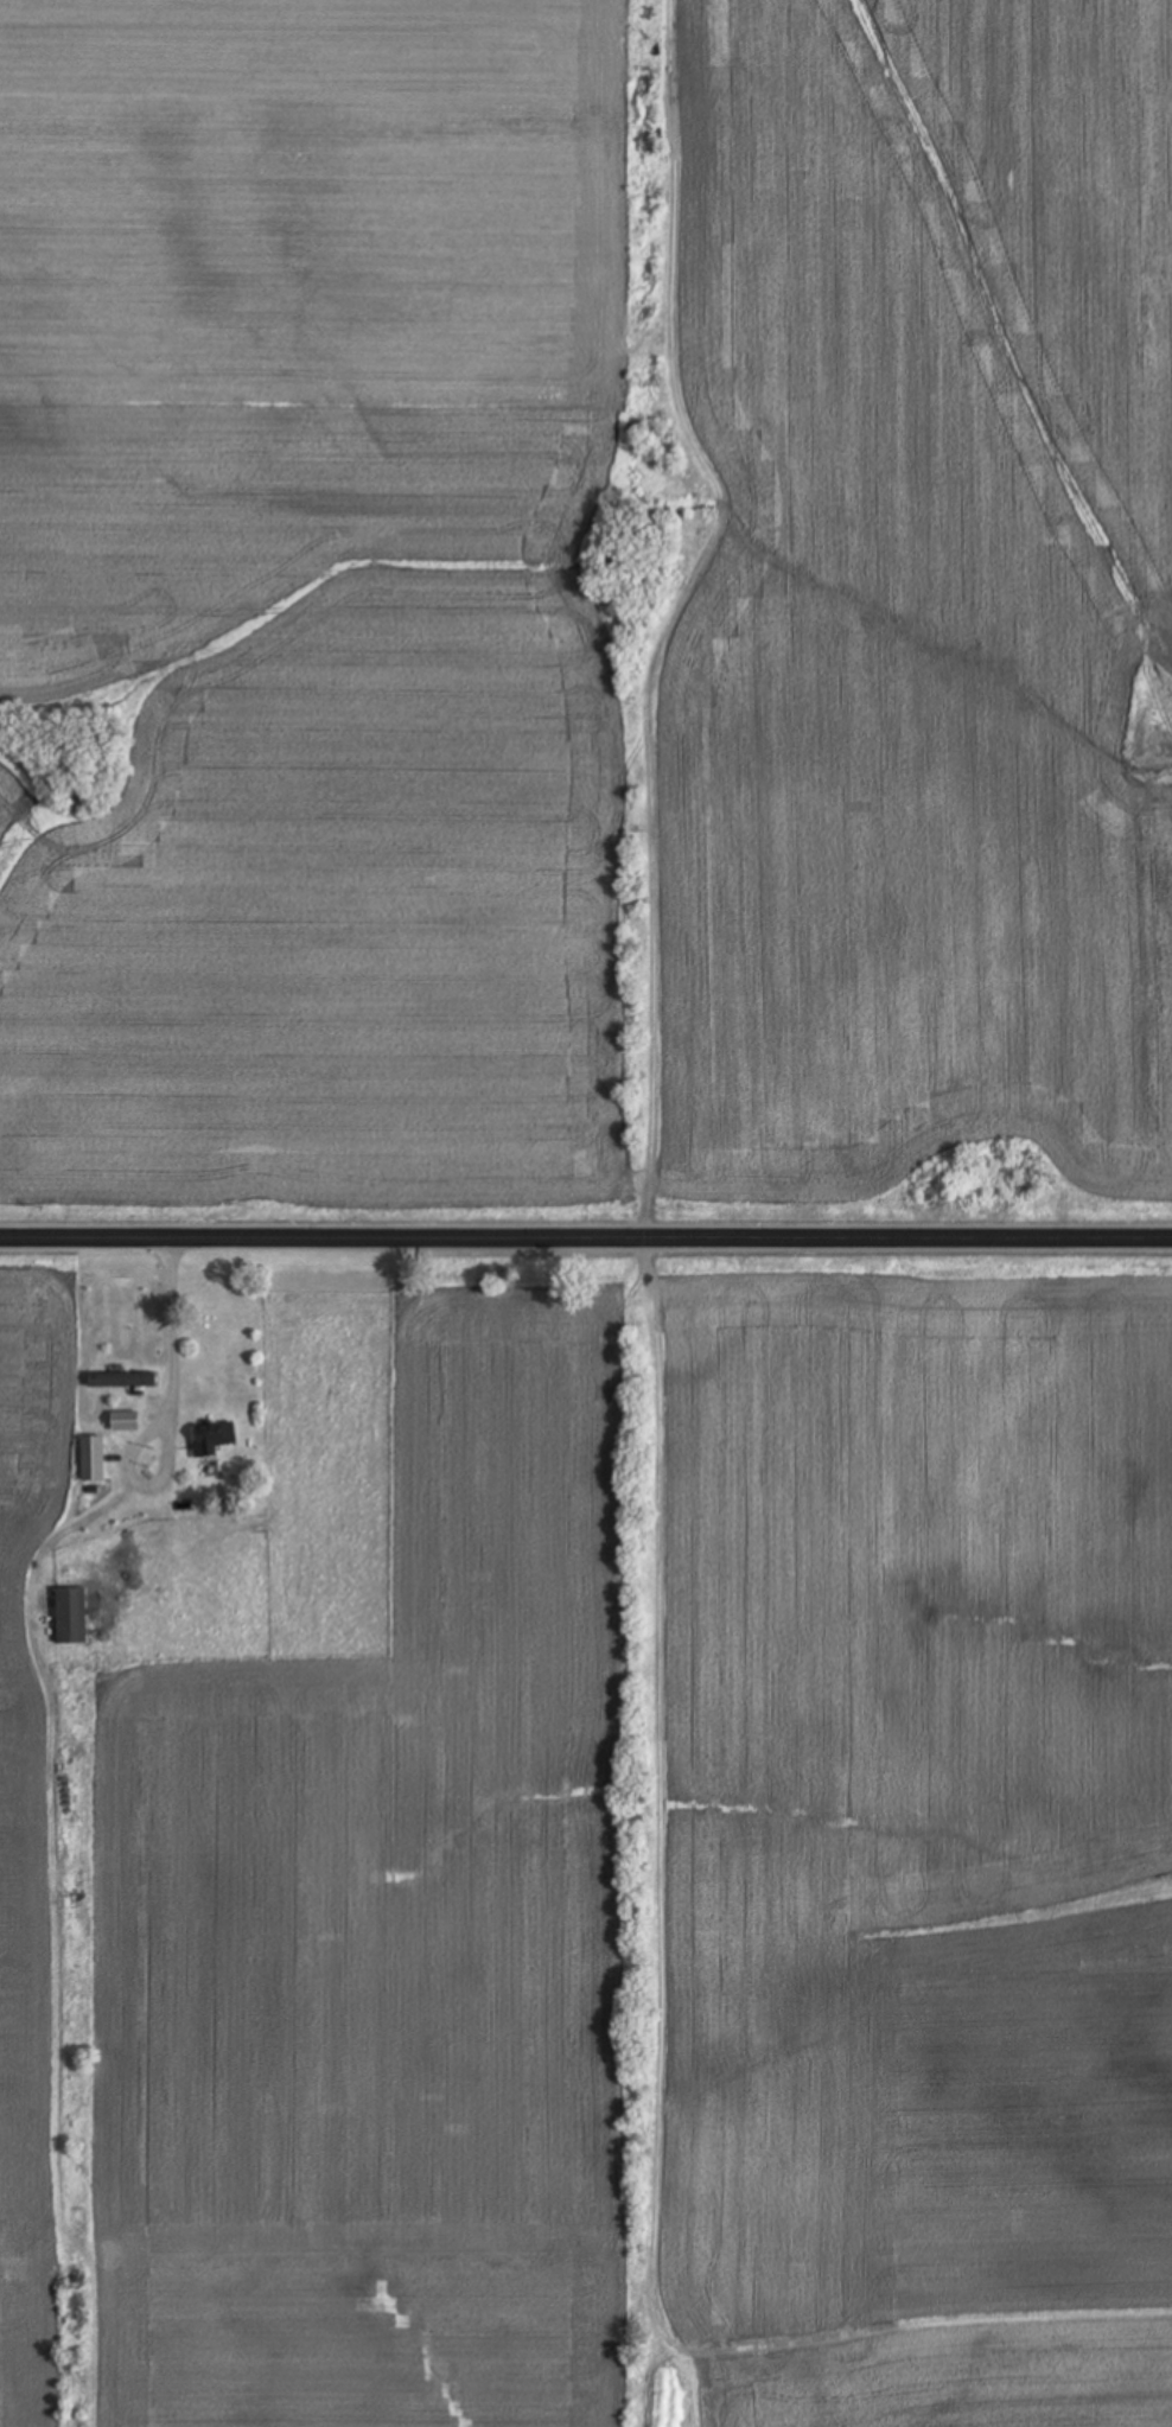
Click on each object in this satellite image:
road: (585, 1235)
building: (120, 1380)
road: (170, 1419)
building: (123, 1422)
building: (211, 1439)
building: (91, 1459)
building: (70, 1616)

